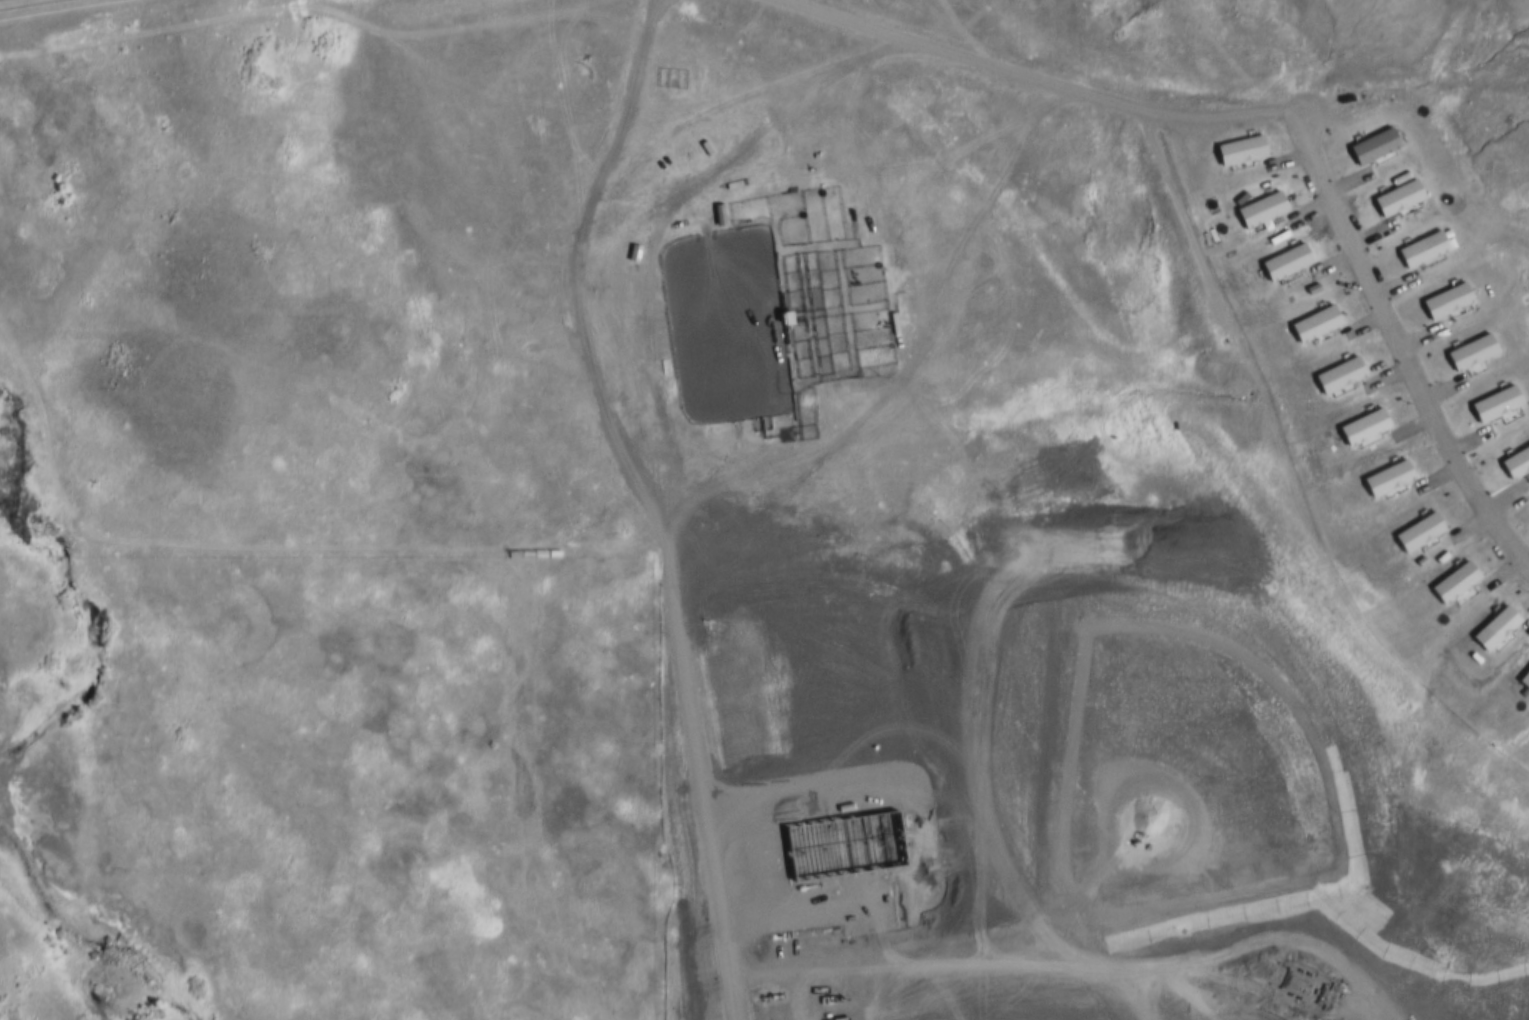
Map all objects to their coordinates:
building: (1372, 145)
building: (1238, 152)
building: (1396, 196)
building: (1259, 210)
building: (1420, 247)
building: (1284, 263)
building: (1445, 299)
building: (1314, 324)
road: (1397, 347)
building: (1470, 351)
building: (1338, 375)
building: (1495, 402)
building: (1363, 425)
building: (1516, 461)
building: (1387, 476)
building: (1418, 529)
building: (1453, 580)
building: (1495, 627)
building: (1524, 679)

